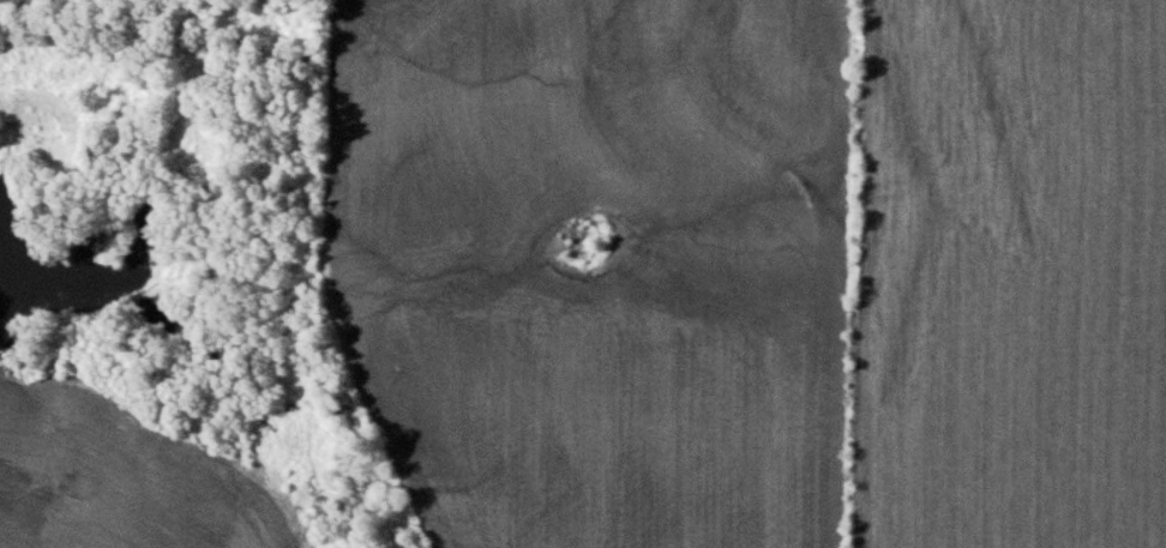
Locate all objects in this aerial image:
crop: (1011, 275)

